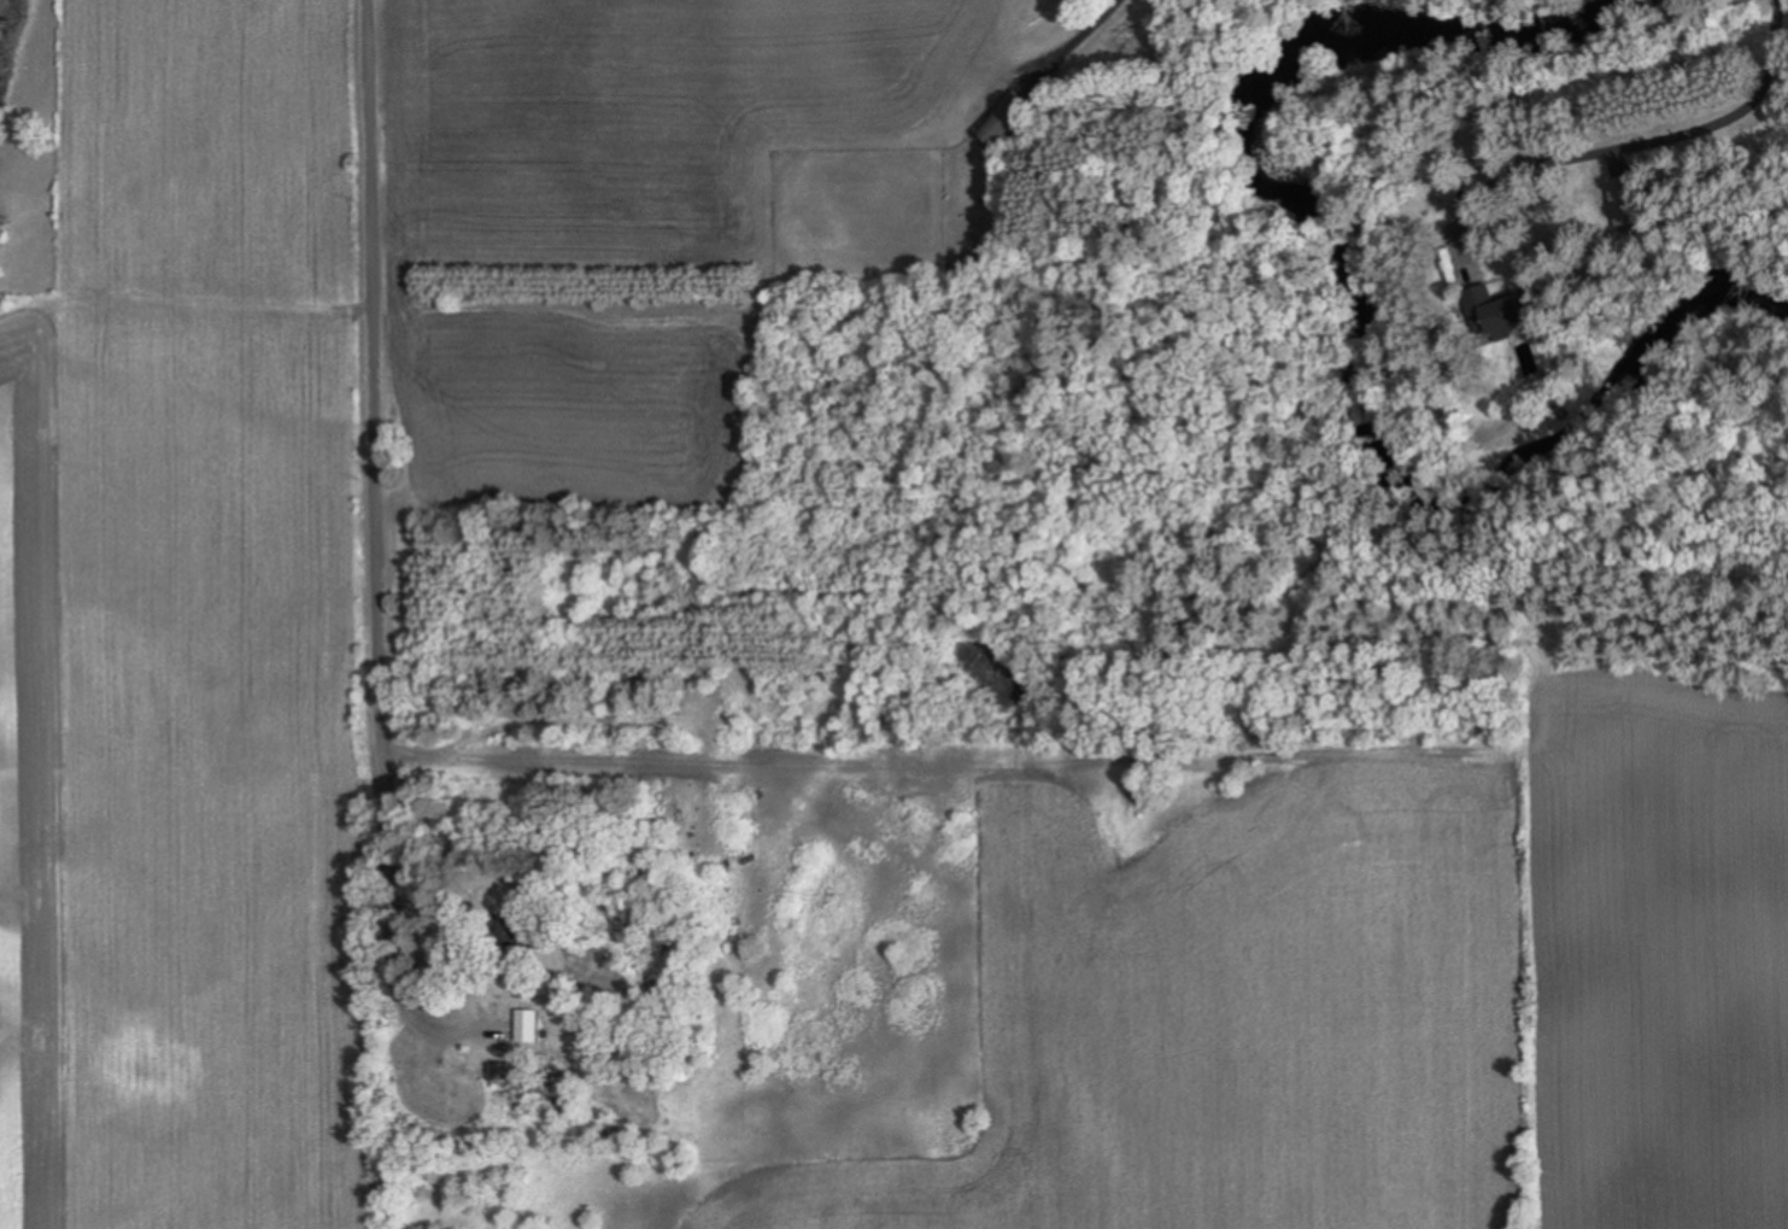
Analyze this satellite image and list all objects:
road: (1646, 110)
building: (1619, 203)
building: (1494, 311)
road: (379, 376)
building: (518, 931)
building: (528, 1024)

